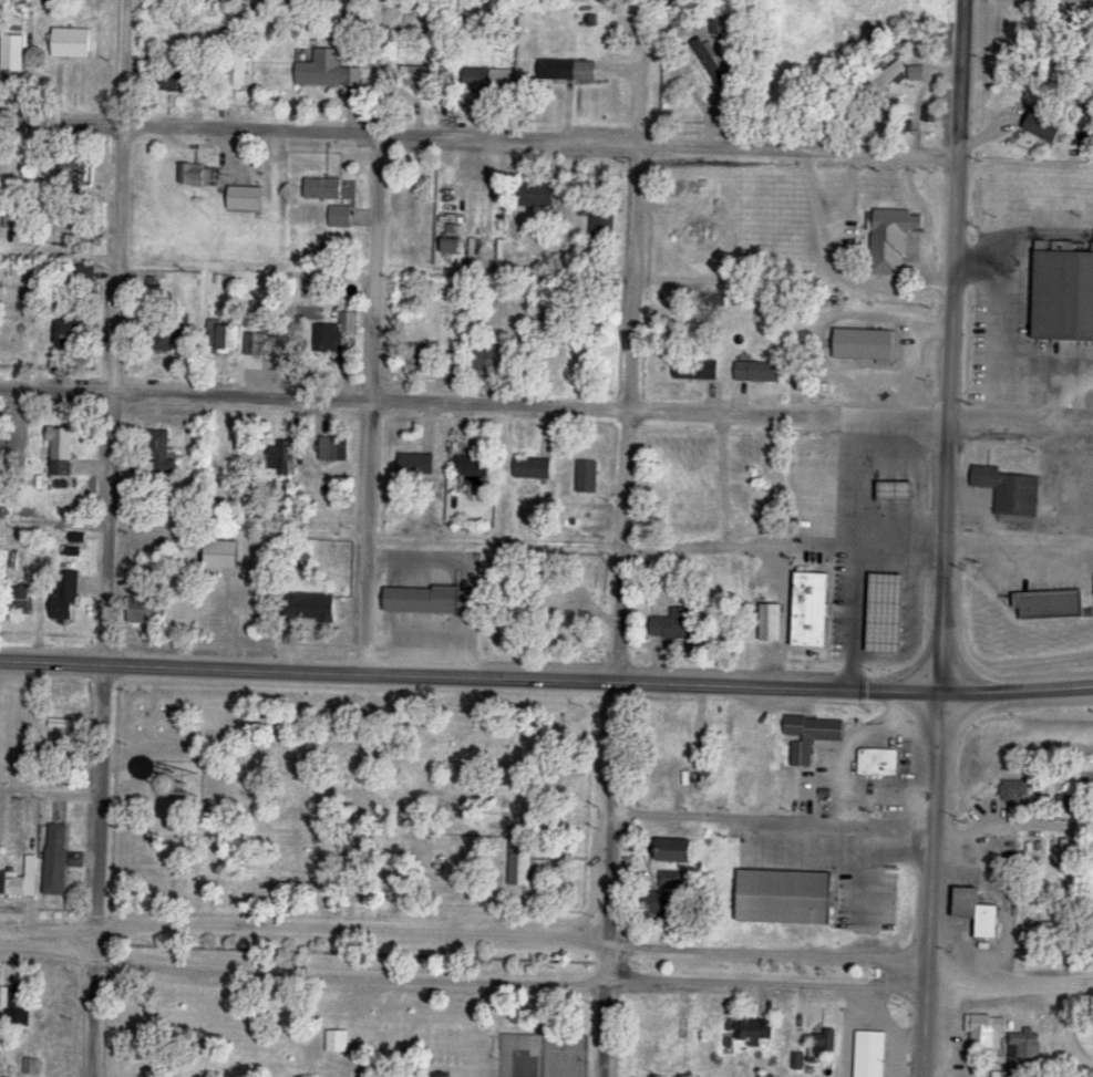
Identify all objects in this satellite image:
building: (74, 43)
building: (14, 53)
building: (709, 62)
road: (454, 65)
building: (331, 68)
building: (566, 70)
road: (606, 71)
building: (916, 73)
building: (888, 75)
building: (172, 76)
building: (487, 80)
building: (926, 114)
road: (192, 123)
building: (1043, 124)
road: (512, 135)
road: (802, 148)
building: (76, 172)
building: (194, 174)
building: (324, 188)
building: (537, 196)
building: (247, 198)
building: (417, 205)
building: (340, 217)
building: (12, 219)
building: (602, 221)
building: (897, 222)
building: (72, 229)
road: (835, 271)
building: (83, 273)
building: (1065, 296)
building: (333, 333)
building: (71, 335)
building: (165, 335)
building: (226, 336)
building: (867, 345)
building: (416, 358)
building: (484, 360)
building: (695, 369)
building: (759, 372)
road: (374, 398)
road: (475, 400)
road: (630, 410)
road: (1030, 418)
building: (332, 448)
building: (62, 451)
building: (156, 453)
building: (279, 459)
building: (415, 463)
building: (475, 466)
building: (532, 468)
building: (587, 476)
building: (760, 480)
building: (893, 489)
building: (1009, 489)
road: (110, 538)
road: (945, 538)
road: (782, 547)
road: (1018, 549)
building: (223, 553)
building: (914, 567)
gas station: (878, 596)
building: (66, 599)
building: (25, 600)
building: (434, 600)
building: (1056, 604)
building: (308, 607)
gas station: (1055, 607)
building: (570, 608)
building: (146, 610)
building: (770, 621)
building: (874, 623)
building: (674, 624)
road: (377, 670)
road: (922, 690)
building: (811, 734)
building: (676, 745)
building: (877, 762)
building: (695, 783)
water tower: (182, 784)
building: (220, 787)
building: (1014, 790)
road: (1012, 824)
building: (672, 849)
building: (54, 856)
building: (518, 861)
road: (609, 877)
building: (21, 879)
building: (672, 879)
park: (351, 881)
building: (786, 897)
building: (658, 904)
building: (980, 912)
building: (1041, 919)
road: (517, 936)
road: (49, 940)
road: (515, 977)
road: (1013, 985)
building: (12, 997)
building: (754, 1032)
building: (988, 1032)
building: (338, 1042)
building: (821, 1044)
building: (1023, 1046)
building: (870, 1054)
park: (540, 1055)
building: (32, 1067)
building: (661, 1075)
building: (766, 1076)

